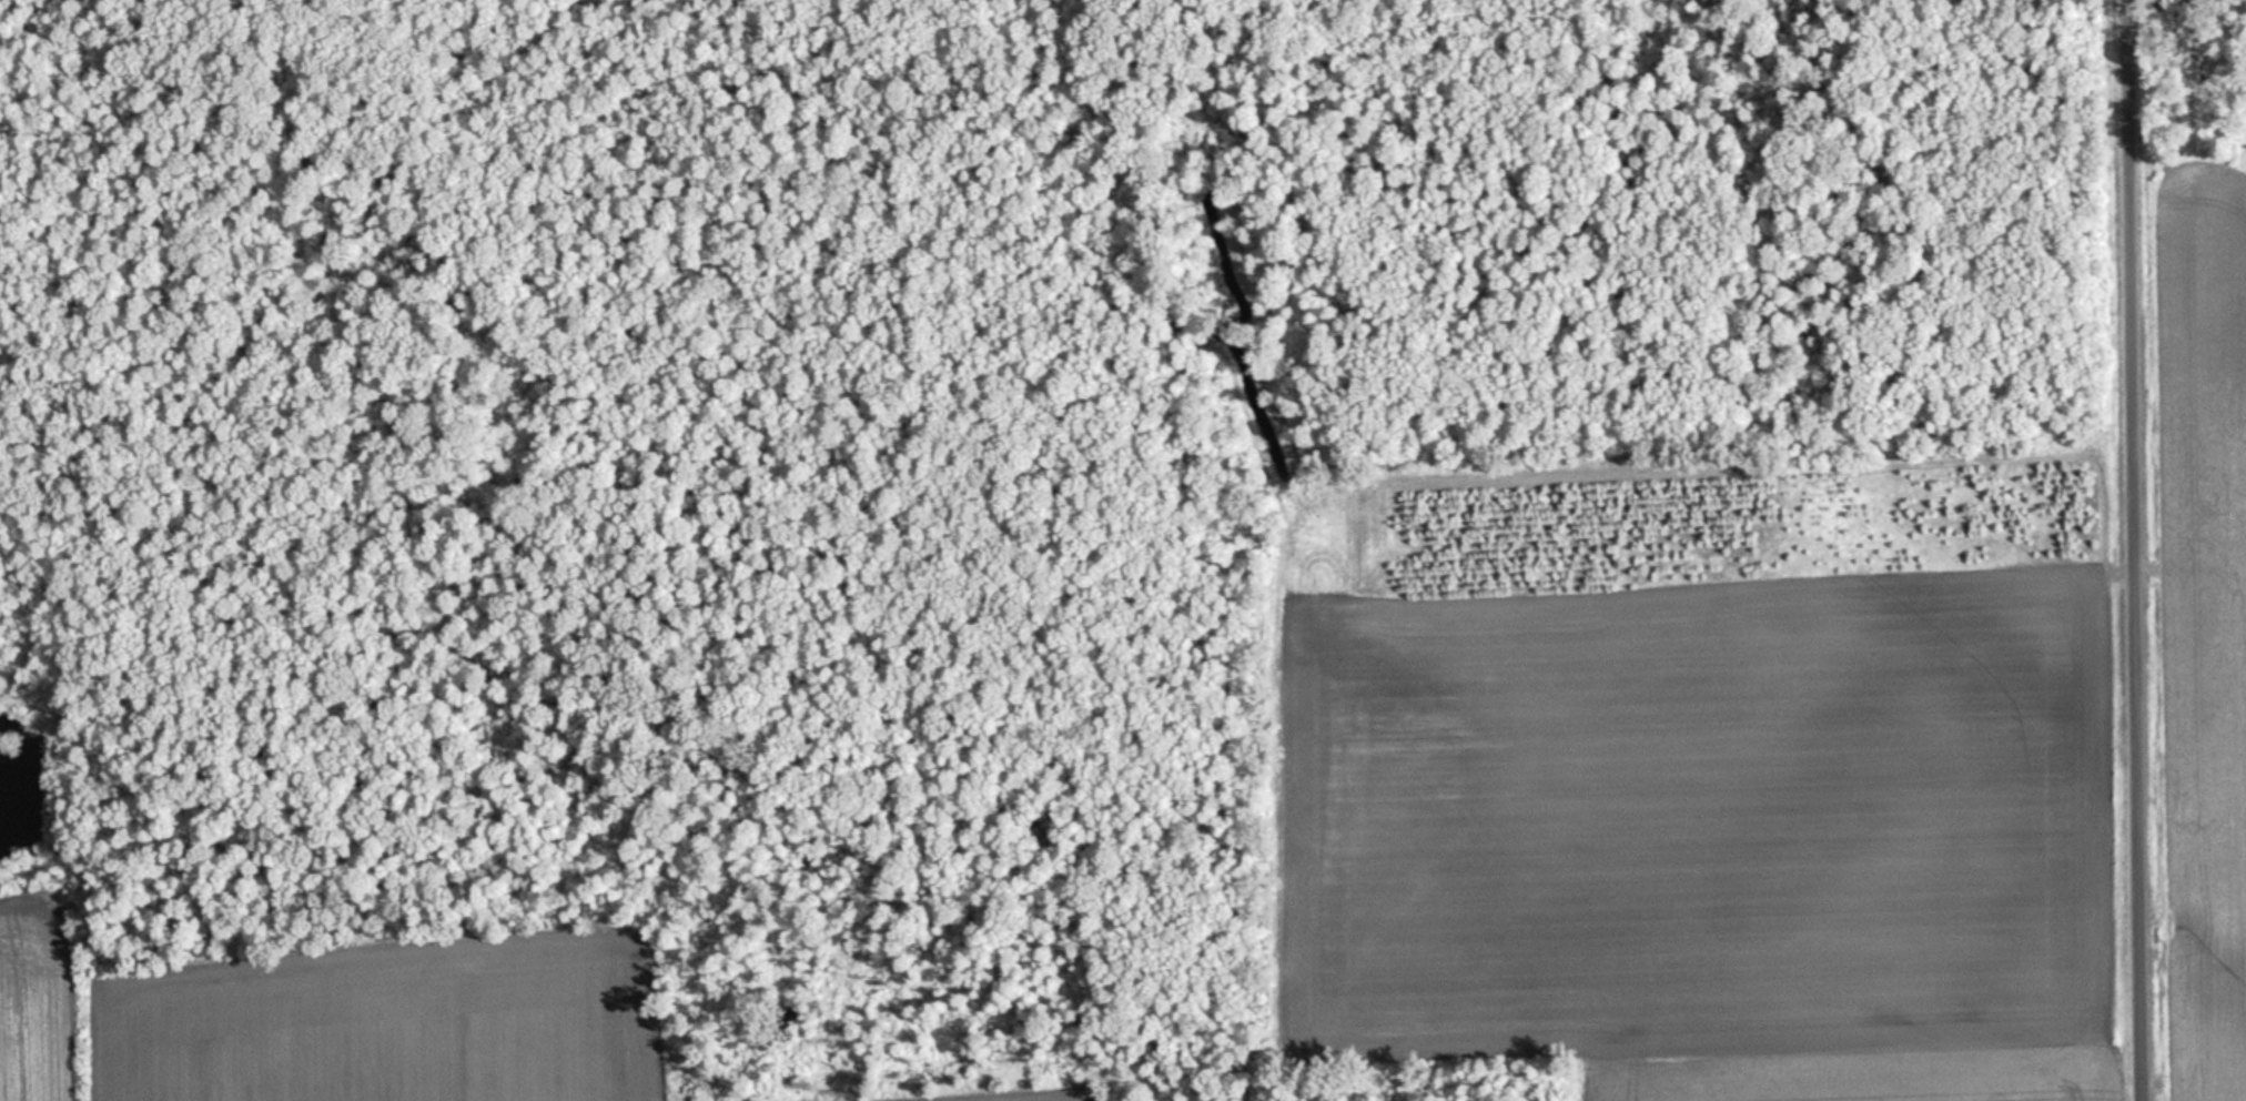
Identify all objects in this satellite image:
road: (2141, 549)

